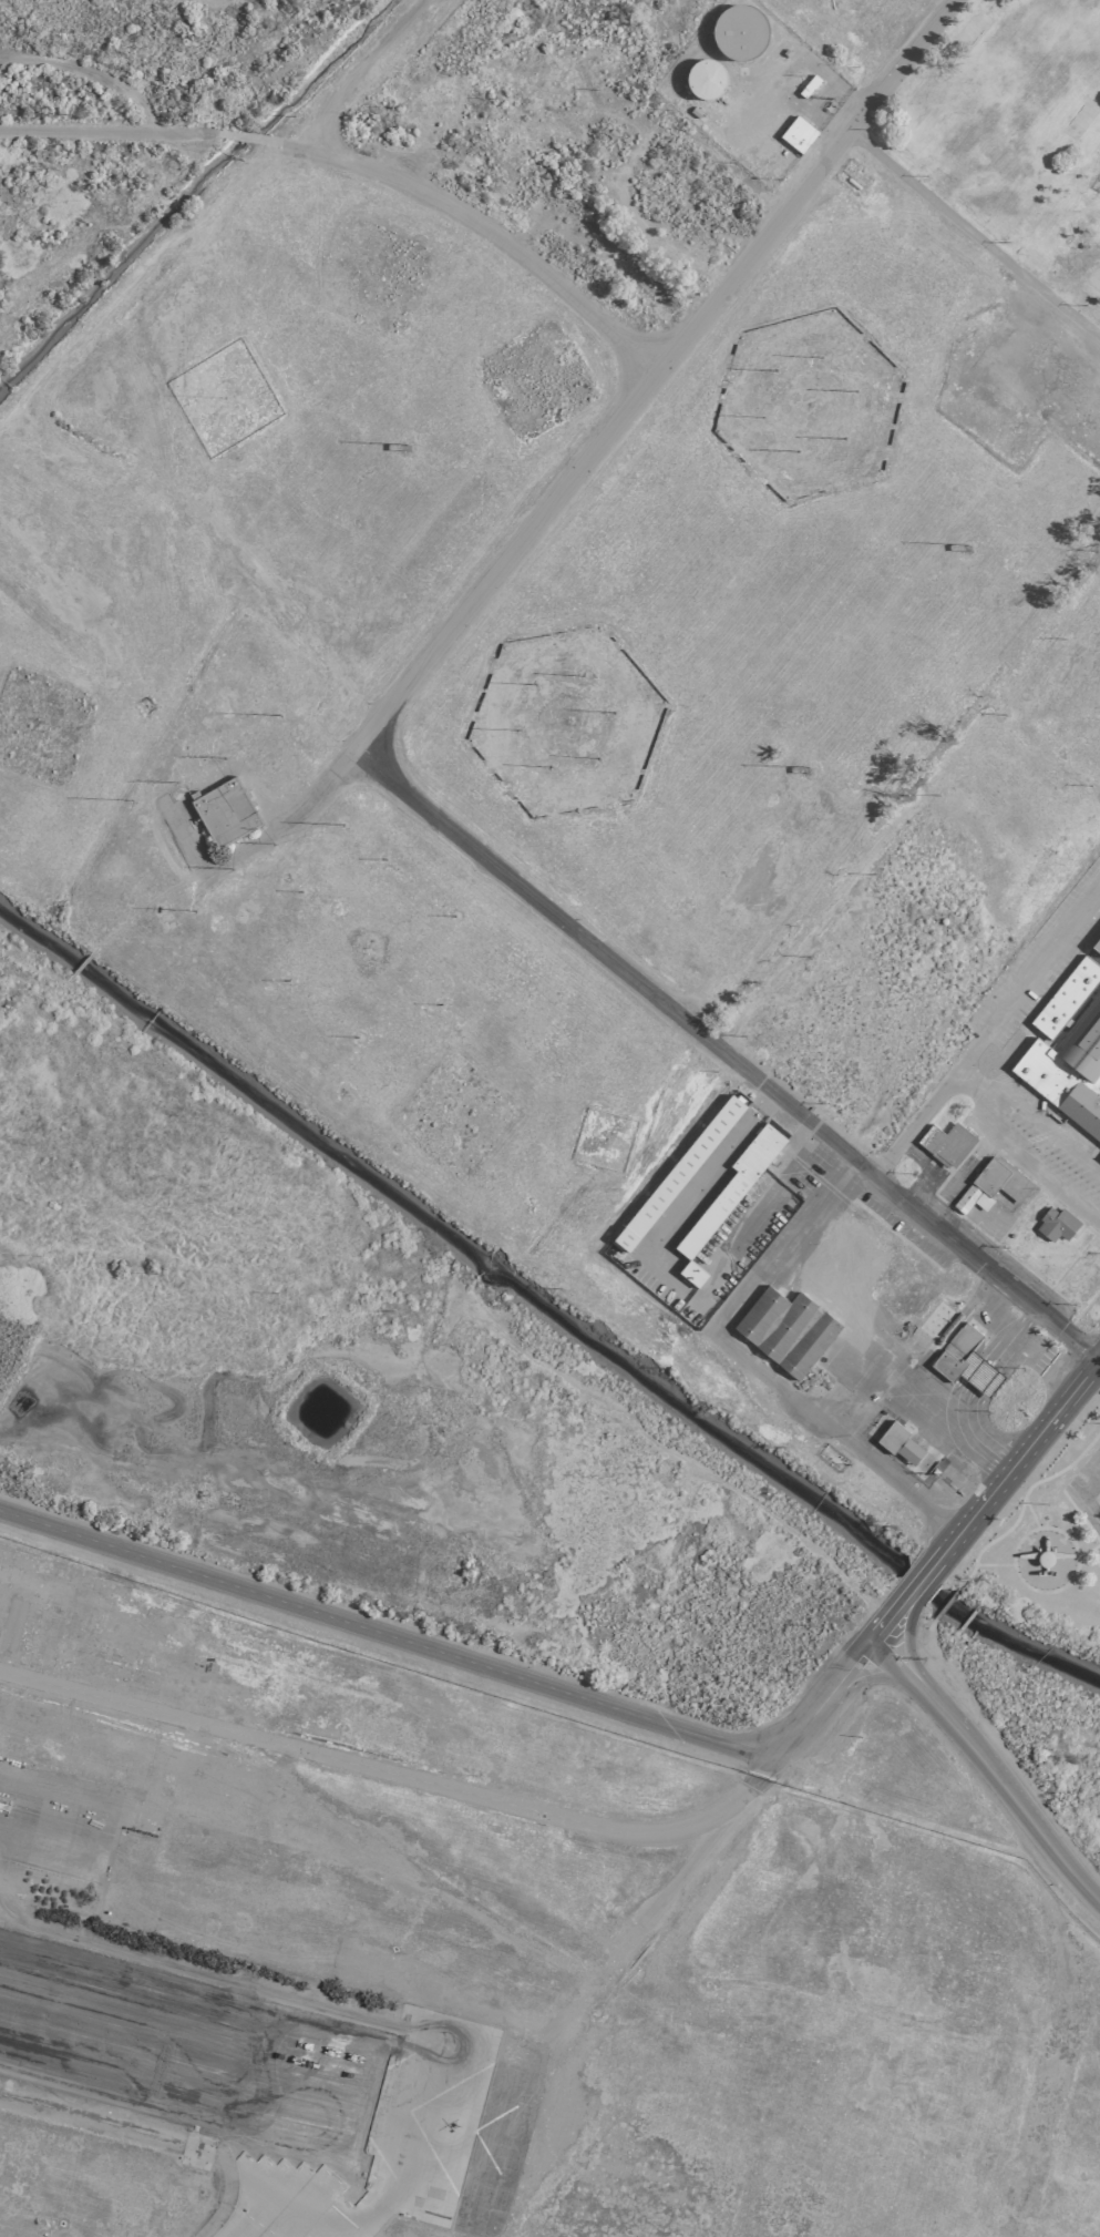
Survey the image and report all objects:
park: (164, 22)
building: (740, 32)
building: (706, 79)
building: (796, 134)
road: (357, 166)
road: (973, 235)
road: (655, 368)
road: (306, 800)
building: (224, 811)
road: (986, 1031)
building: (1068, 1048)
road: (729, 1056)
road: (964, 1084)
road: (976, 1109)
airport: (549, 1118)
building: (945, 1143)
building: (1099, 1157)
building: (730, 1188)
building: (1056, 1224)
building: (691, 1273)
road: (843, 1304)
building: (785, 1329)
building: (965, 1360)
road: (1099, 1360)
road: (731, 1367)
road: (913, 1383)
building: (898, 1442)
road: (1028, 1443)
road: (1081, 1499)
road: (524, 1676)
road: (988, 1763)
road: (397, 1776)
road: (665, 1890)
airport runway: (261, 2076)
airport taxiway: (316, 2175)

